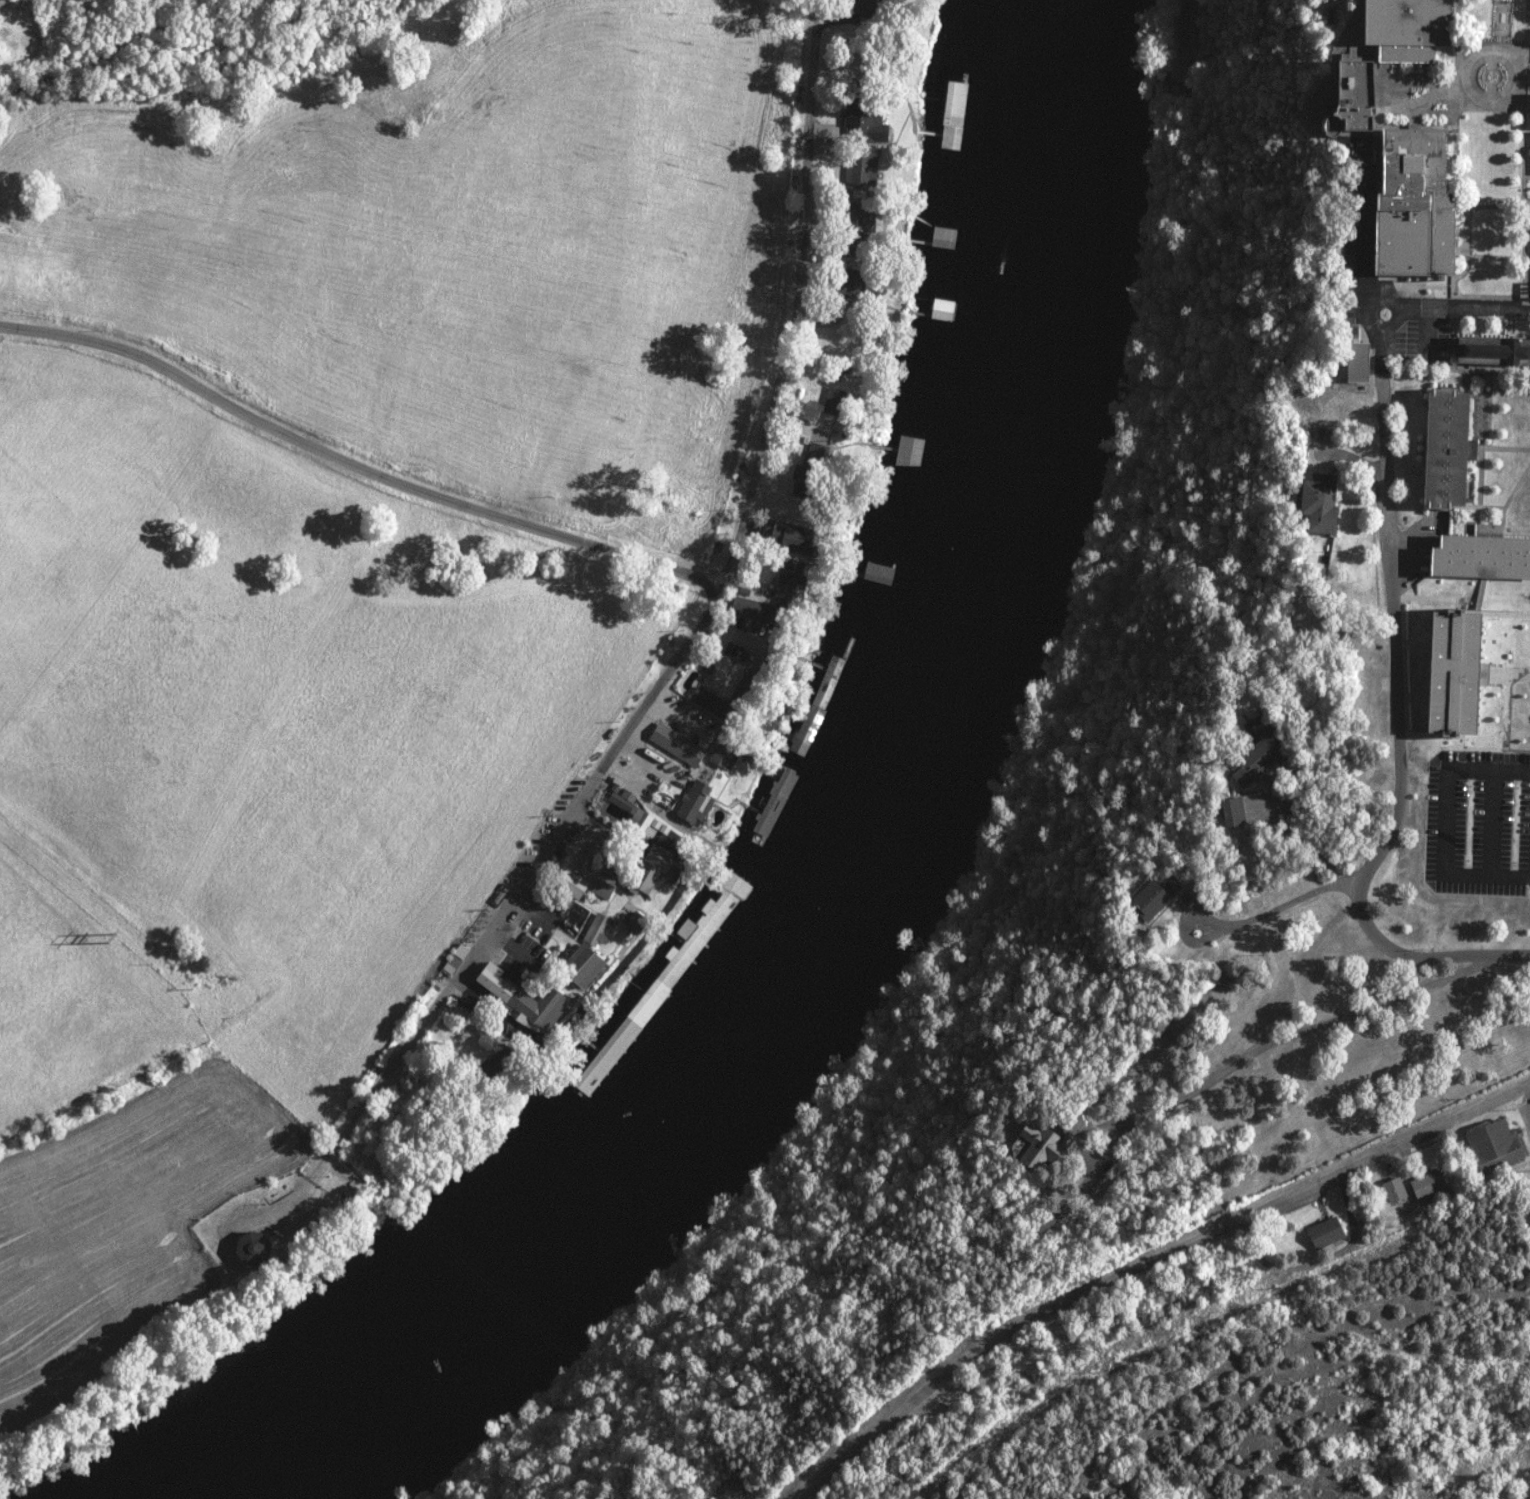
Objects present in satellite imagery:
building: (1395, 28)
building: (1342, 94)
building: (1527, 111)
building: (860, 125)
building: (858, 165)
building: (1400, 203)
building: (851, 221)
road: (1365, 230)
road: (1463, 308)
road: (1396, 317)
road: (1513, 330)
building: (1497, 347)
building: (1350, 360)
road: (1512, 363)
road: (1484, 440)
road: (1502, 440)
building: (1452, 446)
building: (814, 450)
building: (906, 450)
road: (356, 466)
road: (1516, 480)
road: (1479, 489)
building: (1314, 502)
road: (1478, 509)
road: (1489, 516)
building: (1491, 523)
road: (1518, 526)
building: (781, 536)
building: (1481, 551)
building: (785, 579)
road: (1469, 603)
road: (1485, 607)
road: (693, 642)
road: (1505, 659)
building: (1455, 667)
road: (1522, 669)
road: (1506, 708)
road: (1397, 718)
road: (1483, 738)
building: (673, 744)
building: (718, 754)
building: (1252, 755)
building: (691, 803)
building: (772, 804)
building: (1228, 811)
parking lot: (1476, 813)
road: (1491, 815)
building: (631, 816)
road: (1444, 816)
river: (859, 872)
building: (645, 874)
building: (567, 883)
building: (734, 886)
building: (597, 888)
building: (1149, 897)
road: (1284, 899)
building: (594, 930)
power tower: (116, 941)
building: (452, 958)
building: (574, 966)
building: (517, 999)
road: (1292, 1030)
building: (1069, 1122)
building: (1039, 1145)
building: (1490, 1146)
building: (1428, 1187)
building: (1392, 1189)
building: (1045, 1222)
building: (1320, 1233)
building: (261, 1247)
road: (1143, 1263)
road: (915, 1496)

